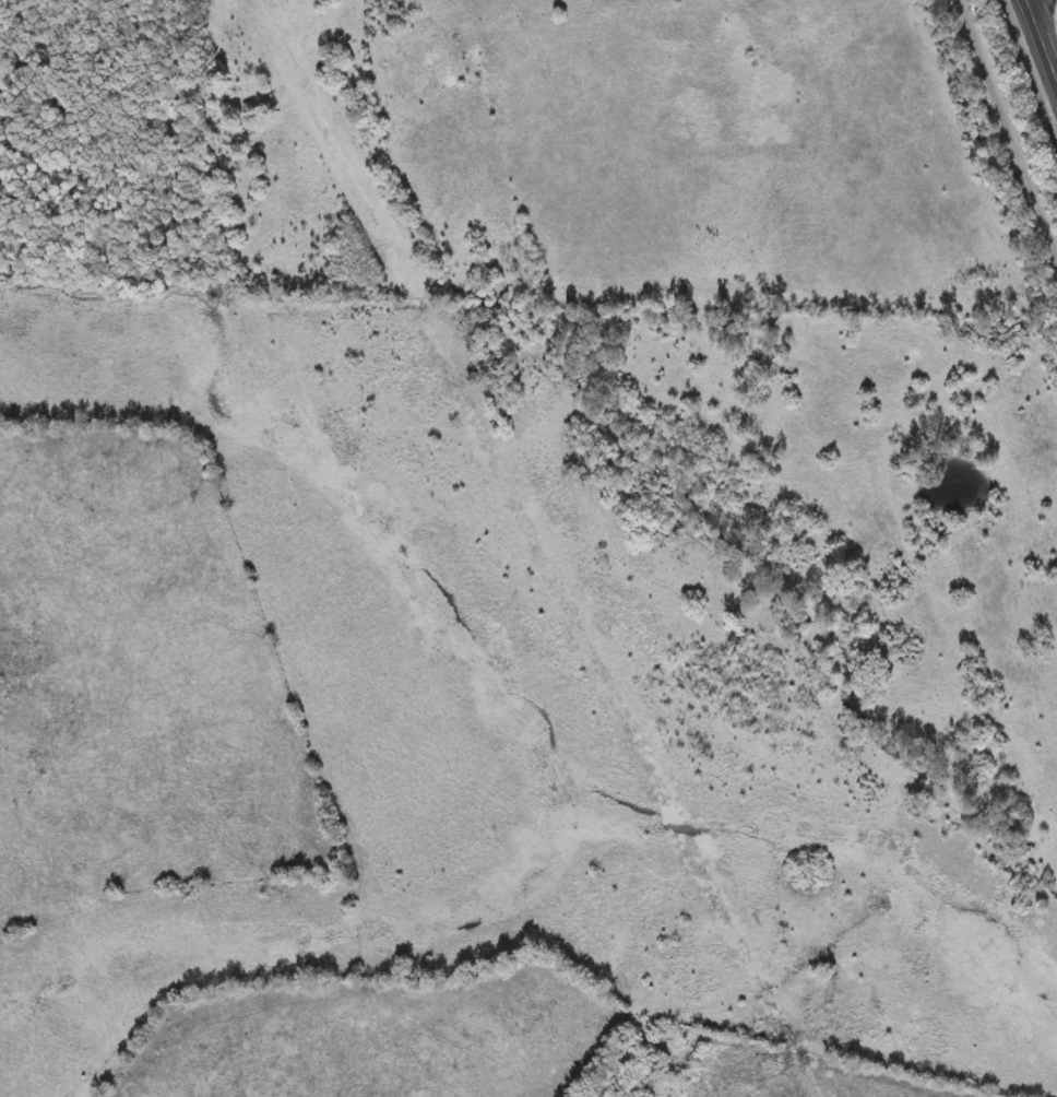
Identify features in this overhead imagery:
road: (1045, 8)
road: (1044, 34)
railway: (1009, 127)

